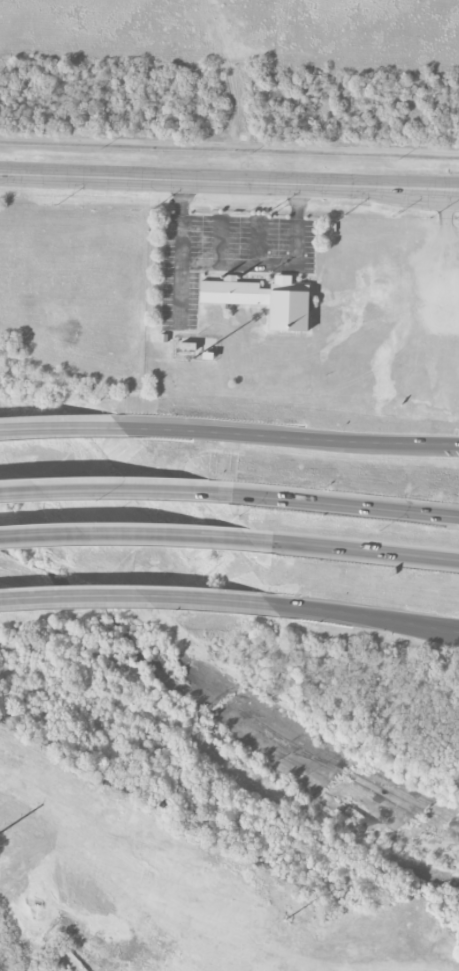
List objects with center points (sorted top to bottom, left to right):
road: (232, 69)
road: (229, 142)
road: (229, 181)
road: (182, 198)
road: (296, 202)
road: (450, 214)
road: (453, 237)
road: (220, 242)
road: (256, 243)
road: (260, 265)
road: (180, 271)
road: (445, 278)
building: (265, 300)
building: (164, 338)
building: (189, 346)
road: (60, 428)
road: (290, 437)
road: (118, 492)
road: (348, 508)
road: (138, 536)
road: (368, 553)
road: (136, 598)
road: (365, 618)
power tower: (286, 918)

